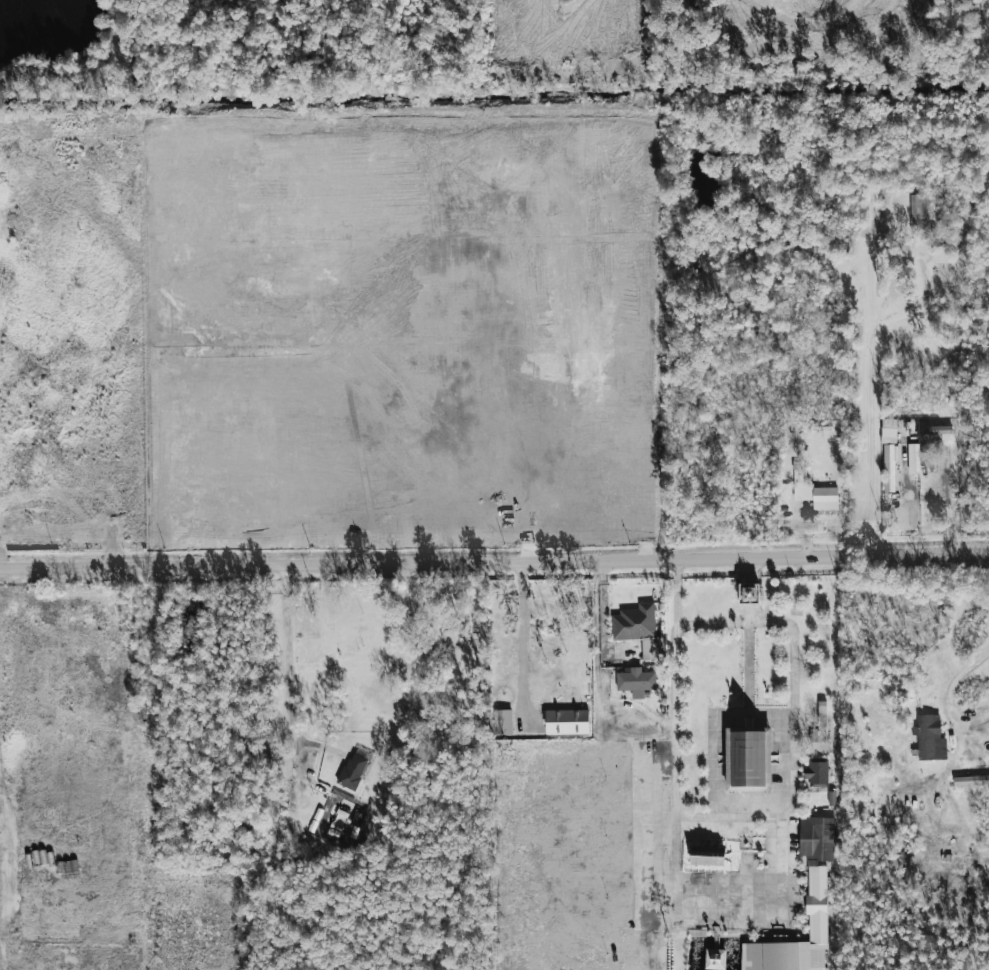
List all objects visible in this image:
building: (917, 210)
building: (940, 253)
road: (880, 387)
building: (936, 431)
building: (913, 458)
building: (890, 467)
building: (813, 492)
road: (945, 502)
road: (494, 558)
building: (748, 593)
road: (599, 604)
road: (735, 623)
building: (639, 630)
road: (524, 633)
building: (635, 681)
road: (675, 685)
road: (953, 709)
road: (293, 710)
road: (973, 720)
building: (501, 722)
building: (566, 722)
building: (929, 738)
building: (748, 759)
building: (352, 771)
building: (816, 774)
building: (971, 781)
road: (727, 814)
building: (816, 839)
building: (707, 857)
road: (780, 859)
building: (816, 904)
road: (0, 933)

